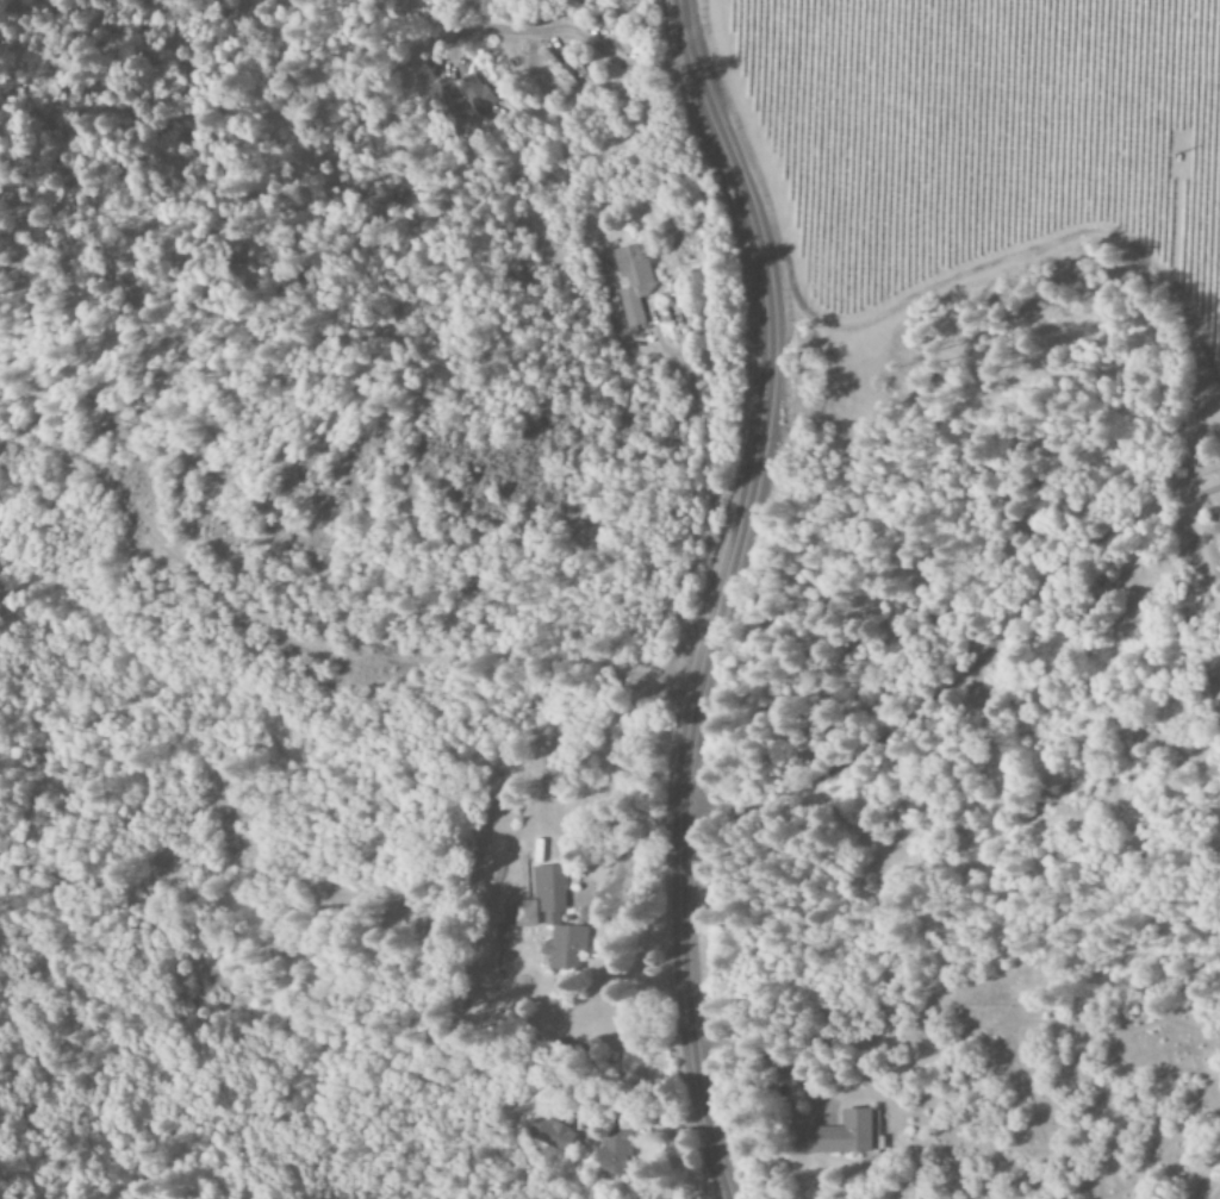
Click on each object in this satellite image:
building: (472, 95)
building: (634, 285)
road: (715, 594)
road: (315, 614)
road: (971, 643)
building: (552, 919)
building: (847, 1134)
building: (550, 1135)
building: (614, 1153)

